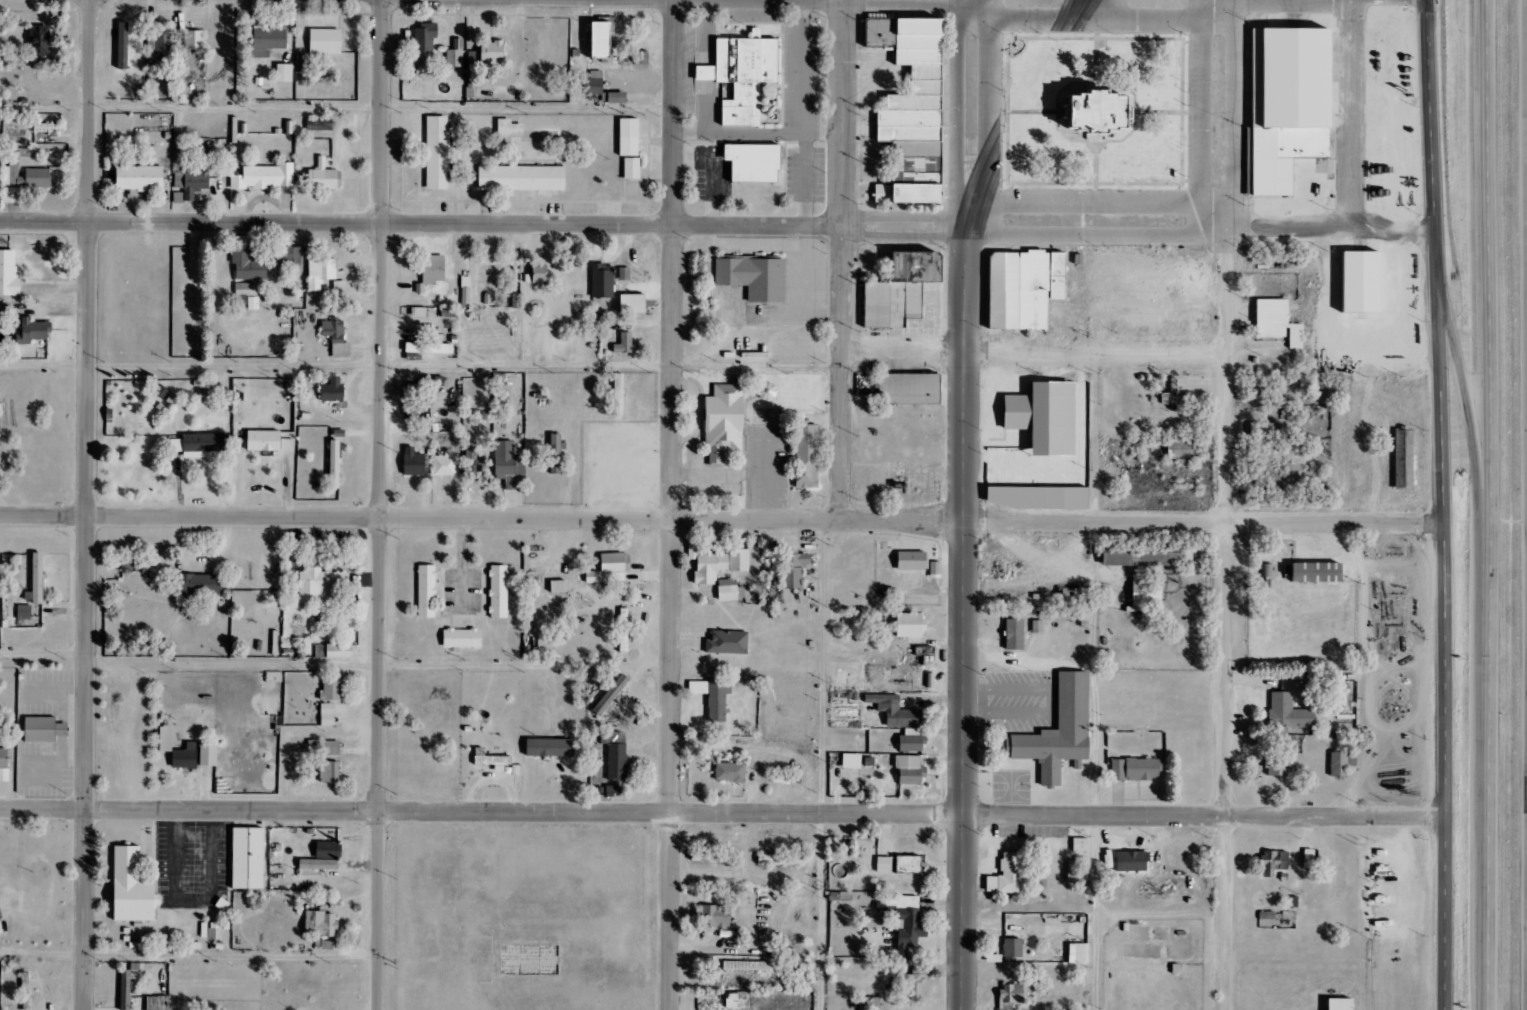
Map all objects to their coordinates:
road: (1221, 1)
road: (1268, 1)
building: (917, 11)
road: (1095, 22)
building: (421, 38)
building: (594, 38)
building: (900, 39)
building: (40, 40)
building: (194, 40)
building: (263, 41)
building: (320, 41)
building: (123, 46)
building: (160, 47)
building: (487, 51)
building: (452, 54)
building: (279, 73)
building: (751, 78)
building: (589, 84)
road: (1028, 95)
building: (609, 97)
road: (969, 97)
building: (916, 100)
building: (1105, 105)
road: (336, 111)
road: (1220, 111)
building: (1298, 111)
road: (1359, 116)
building: (315, 124)
building: (902, 124)
building: (286, 127)
building: (49, 128)
building: (231, 128)
building: (504, 128)
building: (13, 135)
building: (623, 137)
building: (433, 153)
building: (28, 154)
building: (1161, 155)
building: (909, 156)
building: (761, 164)
building: (627, 168)
building: (6, 177)
building: (261, 177)
building: (318, 177)
building: (39, 178)
building: (134, 178)
building: (517, 178)
building: (185, 184)
building: (899, 193)
building: (12, 196)
road: (1091, 208)
road: (483, 223)
road: (1325, 232)
road: (1093, 240)
building: (283, 256)
road: (843, 261)
building: (244, 264)
building: (428, 269)
building: (316, 272)
building: (532, 272)
building: (9, 273)
building: (621, 274)
building: (599, 280)
building: (764, 281)
building: (1369, 285)
building: (335, 287)
building: (462, 287)
building: (1019, 288)
building: (893, 289)
building: (246, 294)
building: (628, 303)
building: (3, 310)
building: (1272, 322)
building: (33, 330)
building: (332, 338)
building: (620, 343)
road: (1034, 352)
road: (421, 371)
building: (333, 389)
building: (917, 390)
building: (613, 394)
building: (1037, 417)
building: (732, 424)
building: (1264, 429)
building: (270, 440)
building: (198, 444)
building: (1174, 449)
road: (1473, 450)
building: (551, 453)
building: (802, 456)
building: (815, 460)
building: (1399, 460)
building: (410, 462)
building: (336, 463)
building: (506, 463)
building: (1411, 463)
building: (473, 465)
building: (441, 466)
road: (669, 504)
road: (1442, 504)
road: (1488, 504)
road: (87, 505)
road: (379, 505)
road: (721, 519)
building: (1140, 556)
building: (907, 561)
building: (715, 565)
building: (610, 569)
building: (790, 569)
building: (1264, 571)
building: (1324, 572)
building: (1275, 573)
building: (37, 579)
building: (203, 584)
building: (321, 586)
building: (428, 590)
building: (726, 590)
building: (499, 591)
building: (1065, 596)
building: (1140, 597)
road: (962, 601)
building: (24, 611)
road: (1225, 616)
building: (904, 625)
building: (1009, 635)
building: (464, 638)
building: (728, 642)
building: (341, 650)
building: (320, 651)
building: (332, 687)
building: (610, 692)
building: (1344, 696)
building: (713, 697)
building: (891, 711)
building: (328, 714)
building: (1297, 716)
building: (45, 729)
building: (1068, 733)
building: (168, 738)
building: (908, 741)
building: (333, 747)
building: (550, 747)
building: (194, 757)
building: (492, 760)
building: (617, 763)
building: (4, 764)
building: (1338, 764)
road: (830, 765)
building: (1350, 766)
building: (1286, 768)
building: (909, 769)
building: (331, 771)
building: (1143, 771)
building: (731, 772)
building: (615, 789)
road: (722, 812)
building: (1081, 844)
building: (327, 855)
building: (713, 857)
building: (249, 858)
building: (782, 859)
building: (1273, 861)
building: (1126, 863)
building: (885, 864)
building: (910, 864)
building: (1041, 864)
building: (1076, 870)
building: (1008, 874)
building: (135, 887)
road: (1108, 912)
road: (1380, 915)
building: (716, 916)
building: (321, 923)
building: (907, 923)
building: (204, 929)
building: (216, 930)
building: (1013, 948)
building: (1079, 953)
road: (188, 959)
building: (746, 965)
building: (915, 982)
building: (127, 989)
building: (27, 990)
building: (1012, 996)
building: (161, 1003)
building: (1348, 1004)

